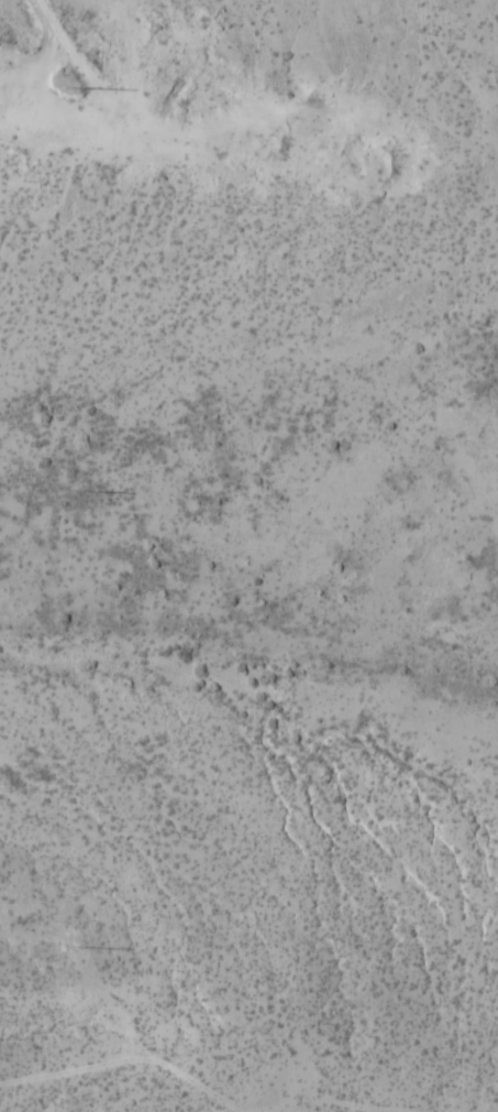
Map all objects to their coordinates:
power tower: (69, 88)
road: (121, 103)
power tower: (75, 490)
power tower: (73, 946)

